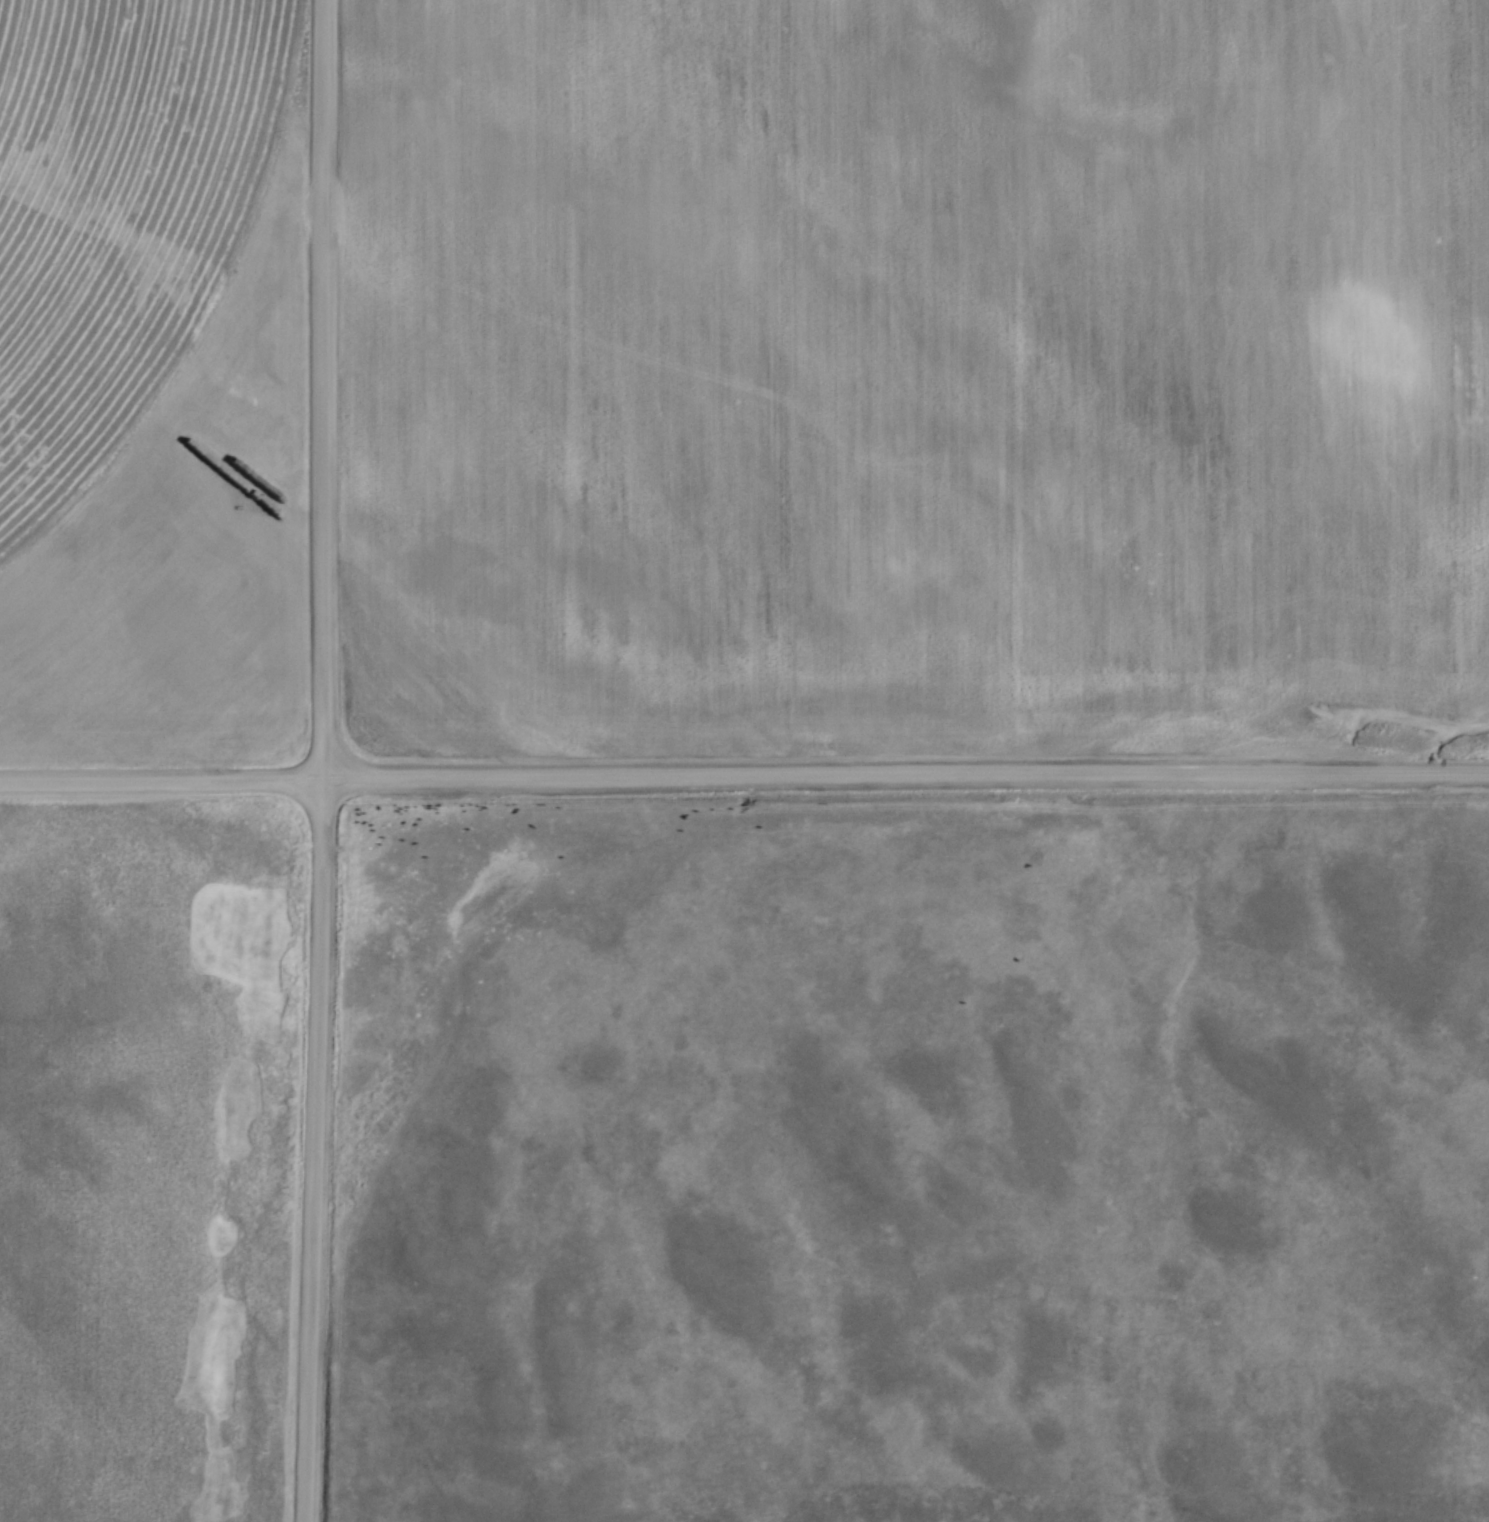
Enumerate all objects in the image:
road: (324, 761)
road: (744, 773)

